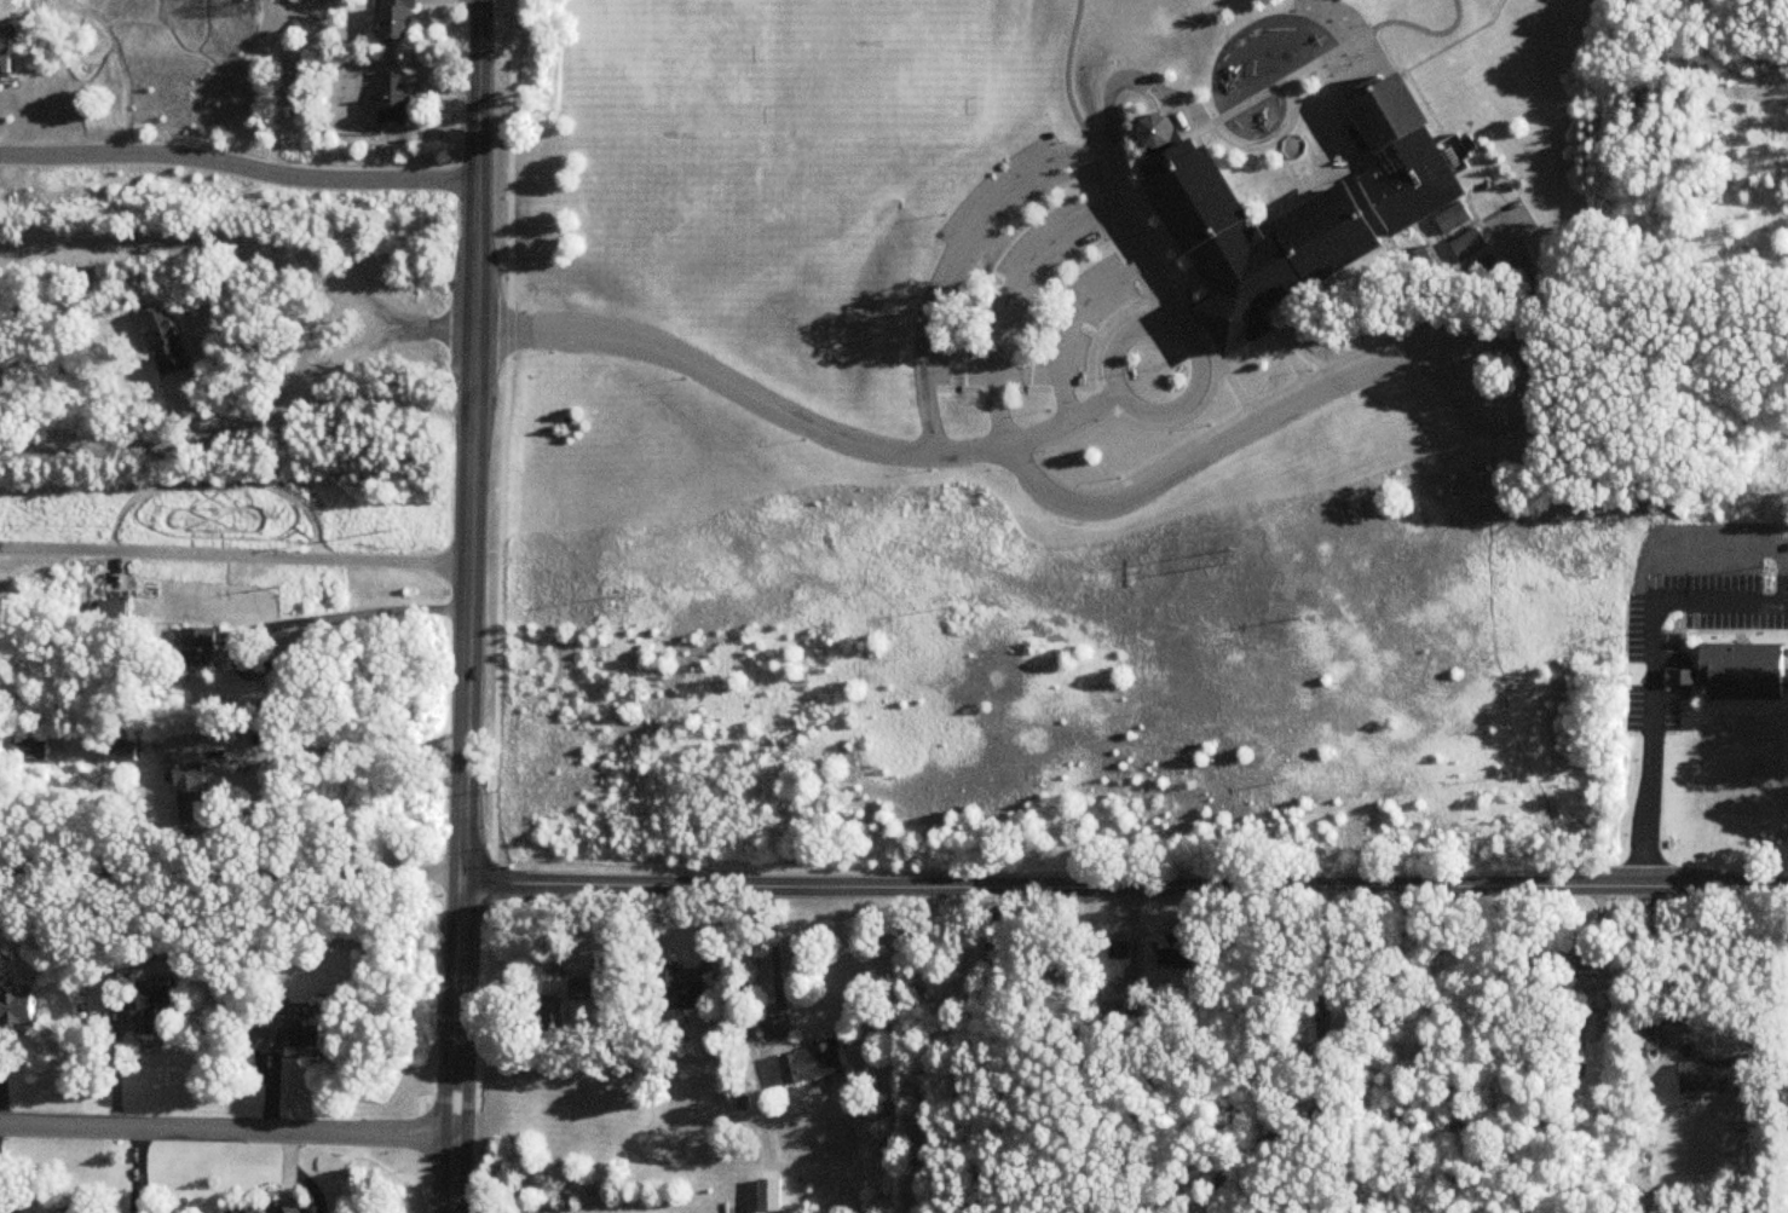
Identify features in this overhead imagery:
park: (1333, 18)
building: (402, 21)
road: (1321, 62)
park: (1360, 68)
park: (769, 69)
road: (1111, 94)
building: (397, 99)
building: (1158, 135)
road: (237, 172)
road: (1130, 208)
building: (1450, 219)
building: (1300, 220)
building: (1465, 246)
road: (946, 271)
road: (1005, 304)
road: (1173, 314)
road: (1072, 329)
road: (1123, 339)
building: (168, 345)
road: (317, 403)
road: (1528, 409)
road: (798, 421)
road: (1217, 440)
road: (474, 443)
road: (1721, 492)
power tower: (377, 531)
road: (235, 551)
power tower: (1234, 558)
power tower: (1766, 570)
road: (364, 613)
building: (203, 649)
road: (1651, 729)
road: (350, 749)
building: (126, 751)
building: (194, 795)
road: (229, 877)
road: (1123, 888)
building: (1120, 952)
building: (508, 955)
building: (1178, 955)
building: (1569, 955)
road: (774, 966)
building: (680, 993)
building: (161, 1009)
building: (19, 1013)
building: (552, 1015)
building: (290, 1036)
building: (1644, 1036)
road: (967, 1049)
road: (455, 1050)
building: (1597, 1056)
building: (815, 1065)
building: (1709, 1076)
road: (226, 1130)
building: (267, 1211)

